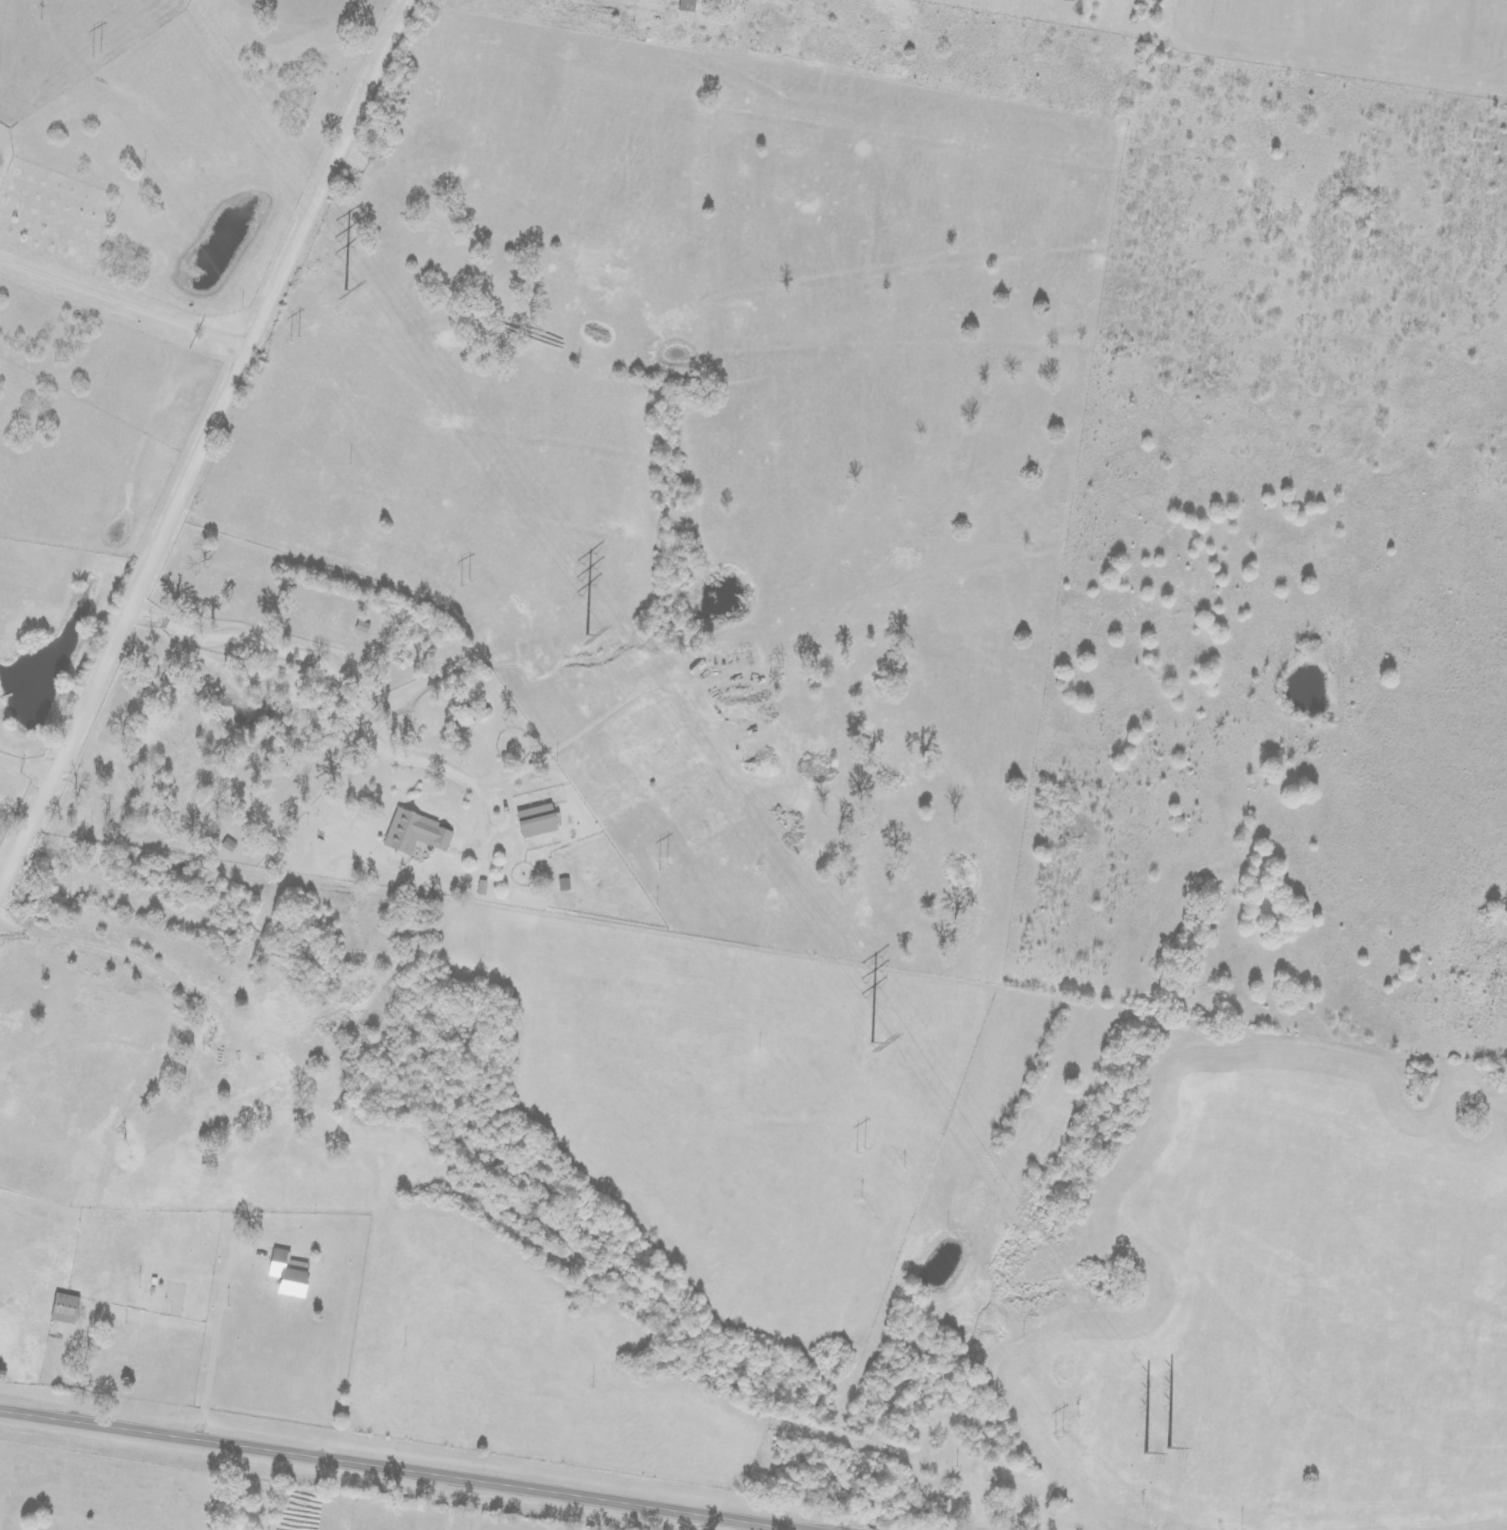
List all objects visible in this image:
building: (687, 6)
power tower: (97, 55)
road: (374, 271)
power tower: (342, 283)
power tower: (294, 340)
road: (209, 451)
road: (292, 461)
power tower: (460, 581)
power tower: (584, 629)
road: (183, 673)
building: (482, 713)
building: (463, 718)
building: (537, 820)
building: (414, 833)
road: (82, 864)
power tower: (663, 868)
power tower: (871, 1035)
road: (171, 1063)
power tower: (869, 1152)
building: (287, 1276)
building: (65, 1308)
power tower: (1072, 1437)
power tower: (1154, 1441)
road: (401, 1468)

